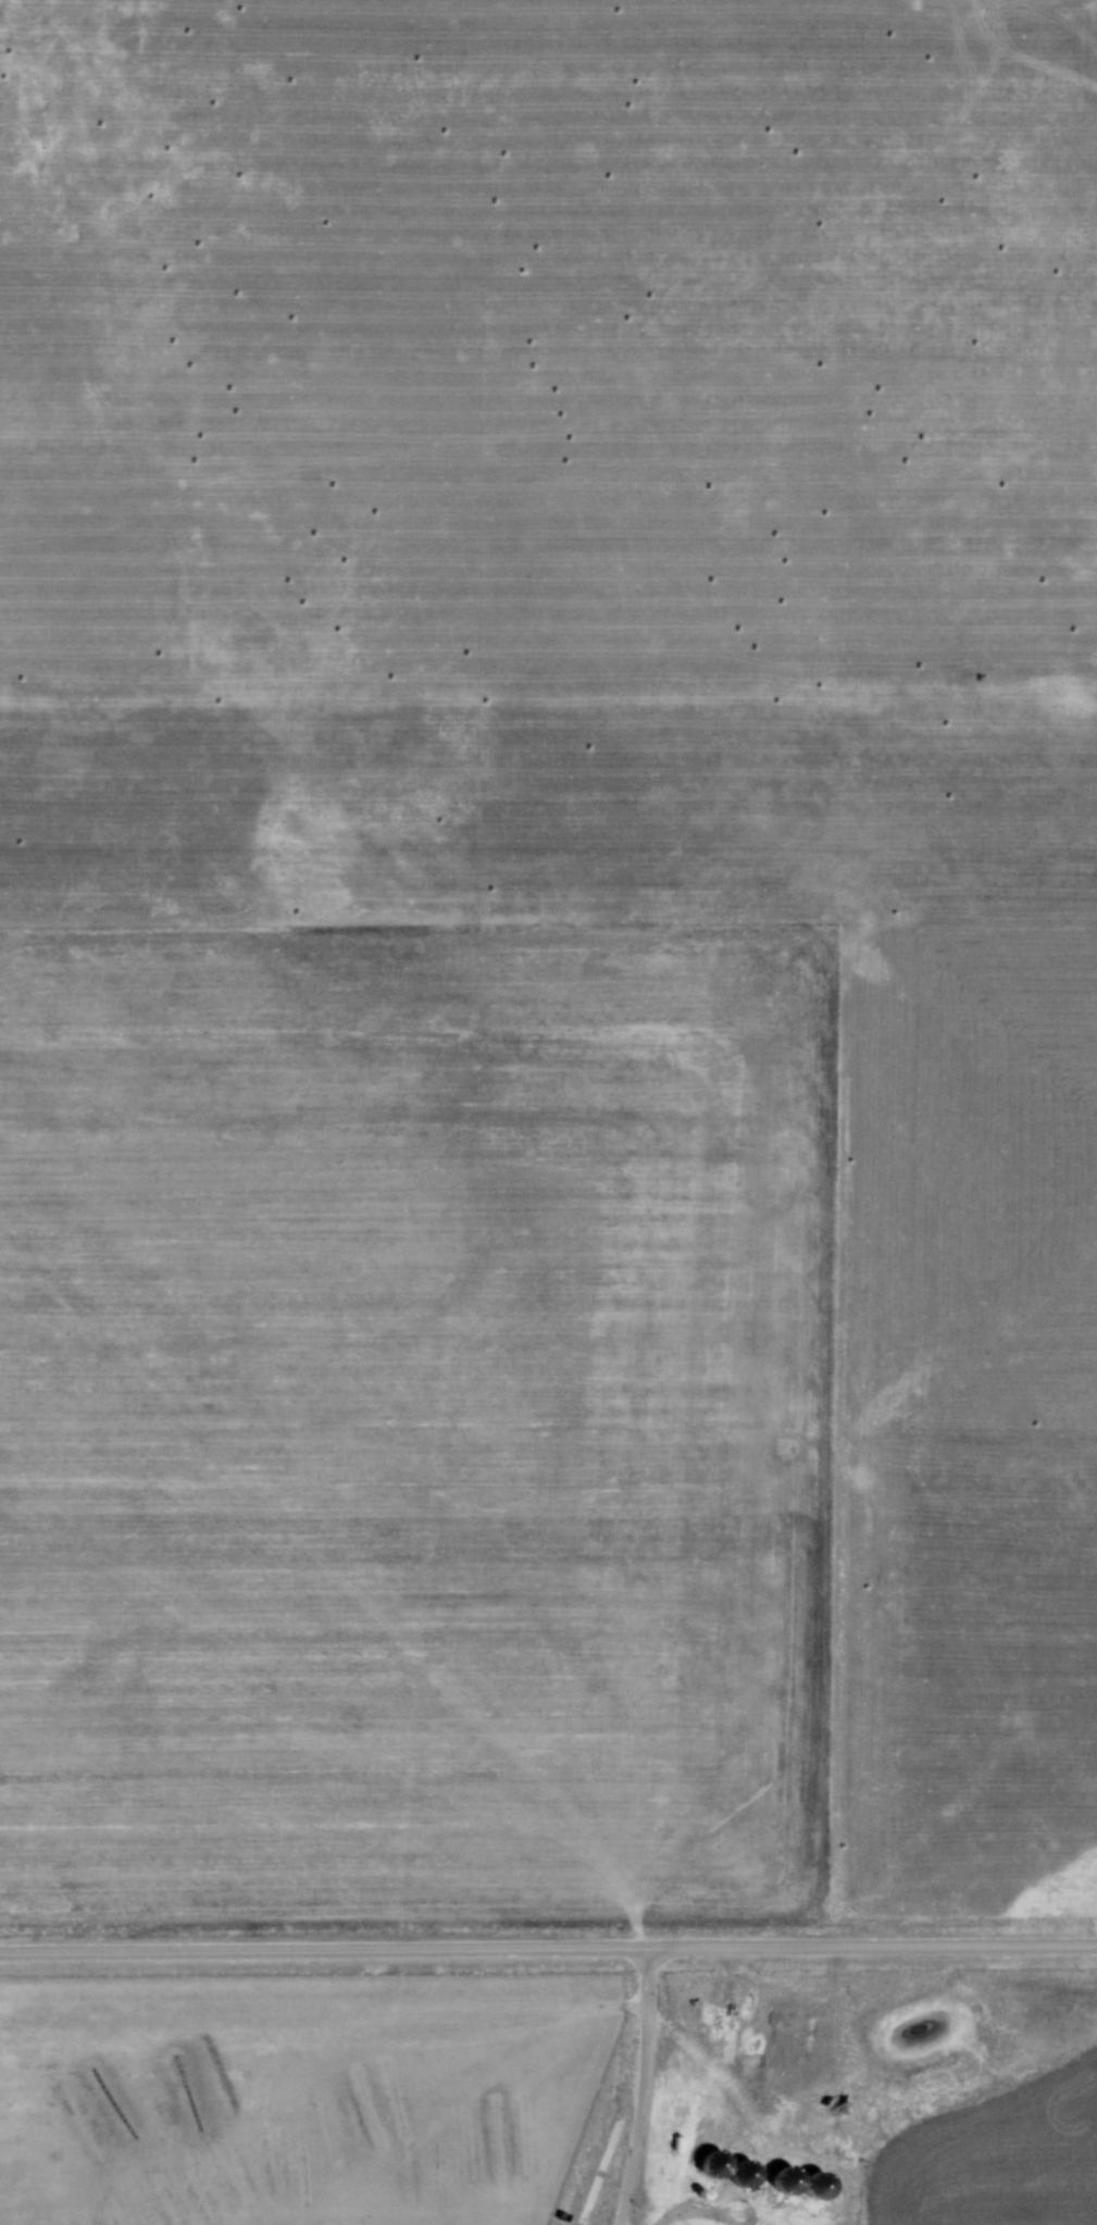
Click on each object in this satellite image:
road: (548, 1957)
road: (640, 2091)
crop: (996, 2159)
silo: (711, 2176)
silo: (740, 2186)
silo: (782, 2192)
silo: (814, 2198)

